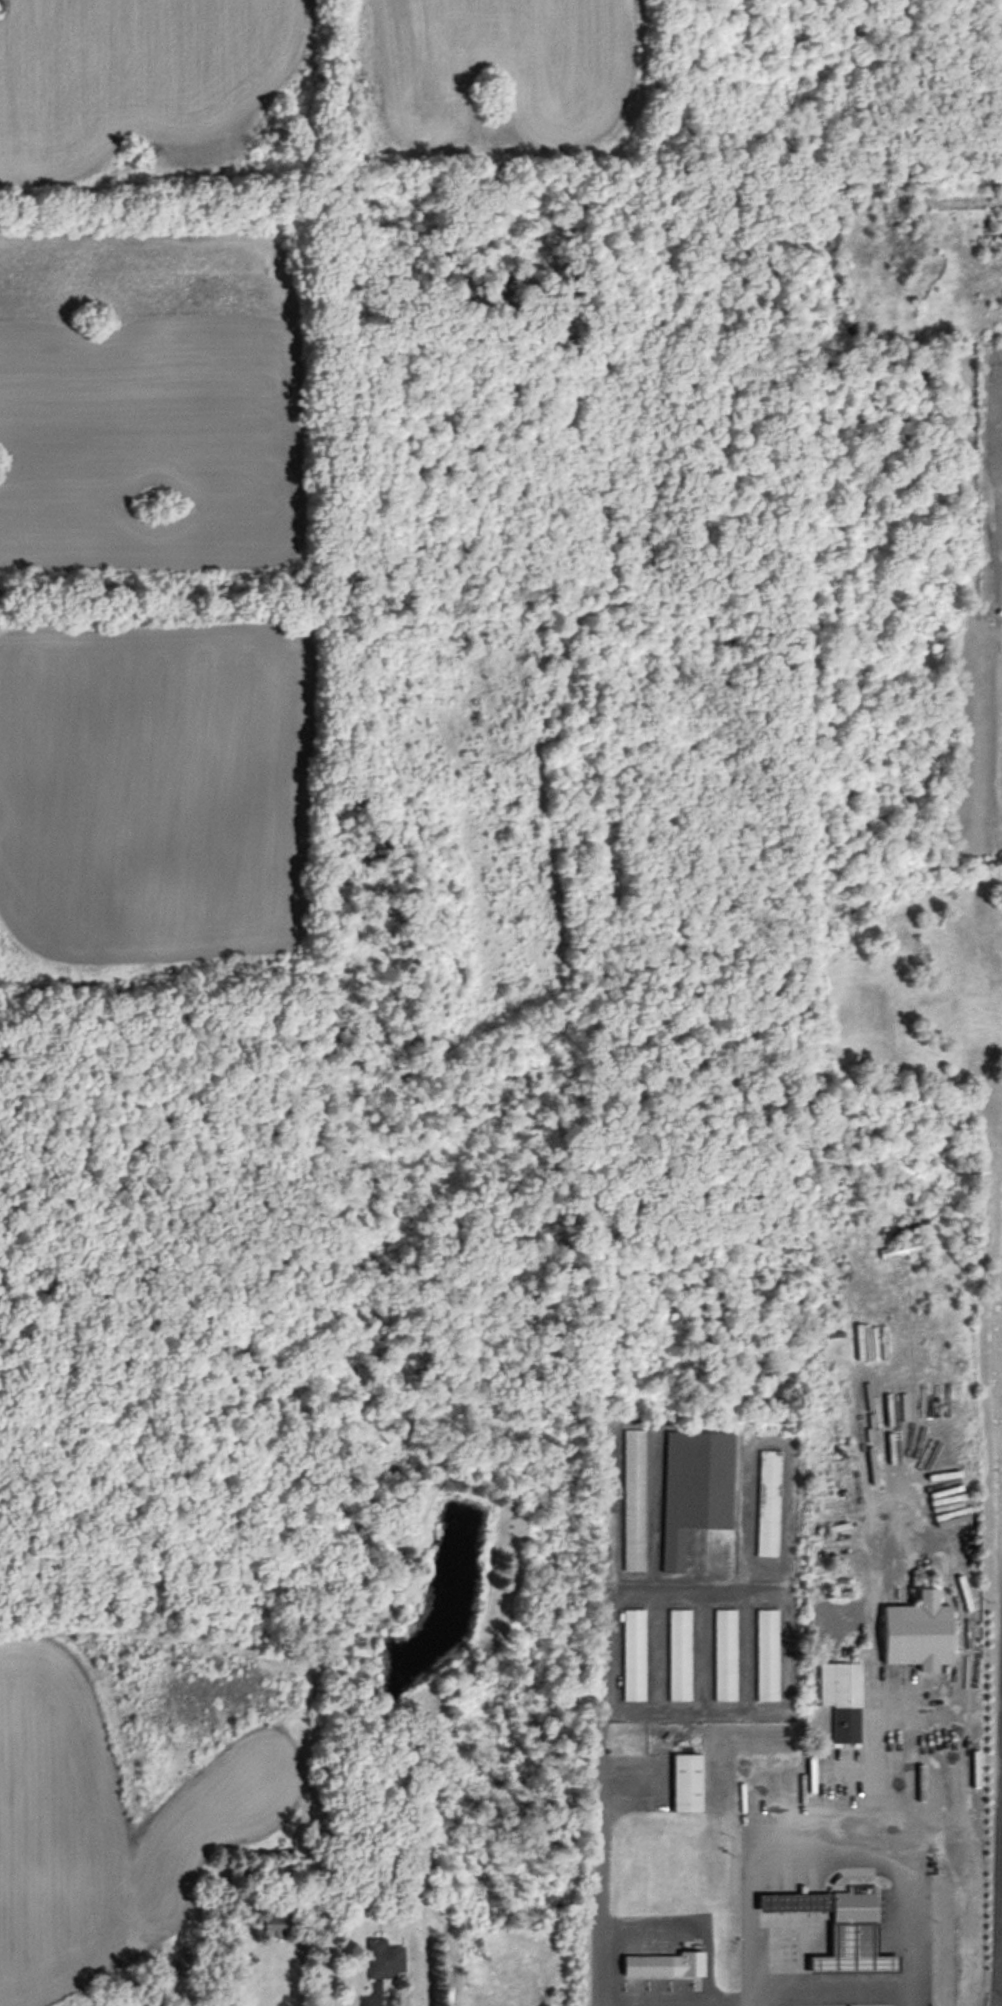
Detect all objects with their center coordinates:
building: (902, 1228)
building: (917, 1246)
building: (934, 1280)
building: (694, 1491)
building: (633, 1501)
building: (767, 1504)
building: (916, 1635)
building: (633, 1656)
building: (678, 1656)
building: (724, 1656)
building: (765, 1656)
building: (840, 1700)
building: (686, 1785)
road: (832, 1857)
road: (599, 1884)
road: (964, 1898)
building: (793, 1903)
building: (853, 1905)
road: (998, 1923)
building: (275, 1926)
building: (853, 1953)
building: (384, 1962)
building: (662, 1967)
road: (299, 1976)
road: (837, 1990)
road: (681, 1995)

